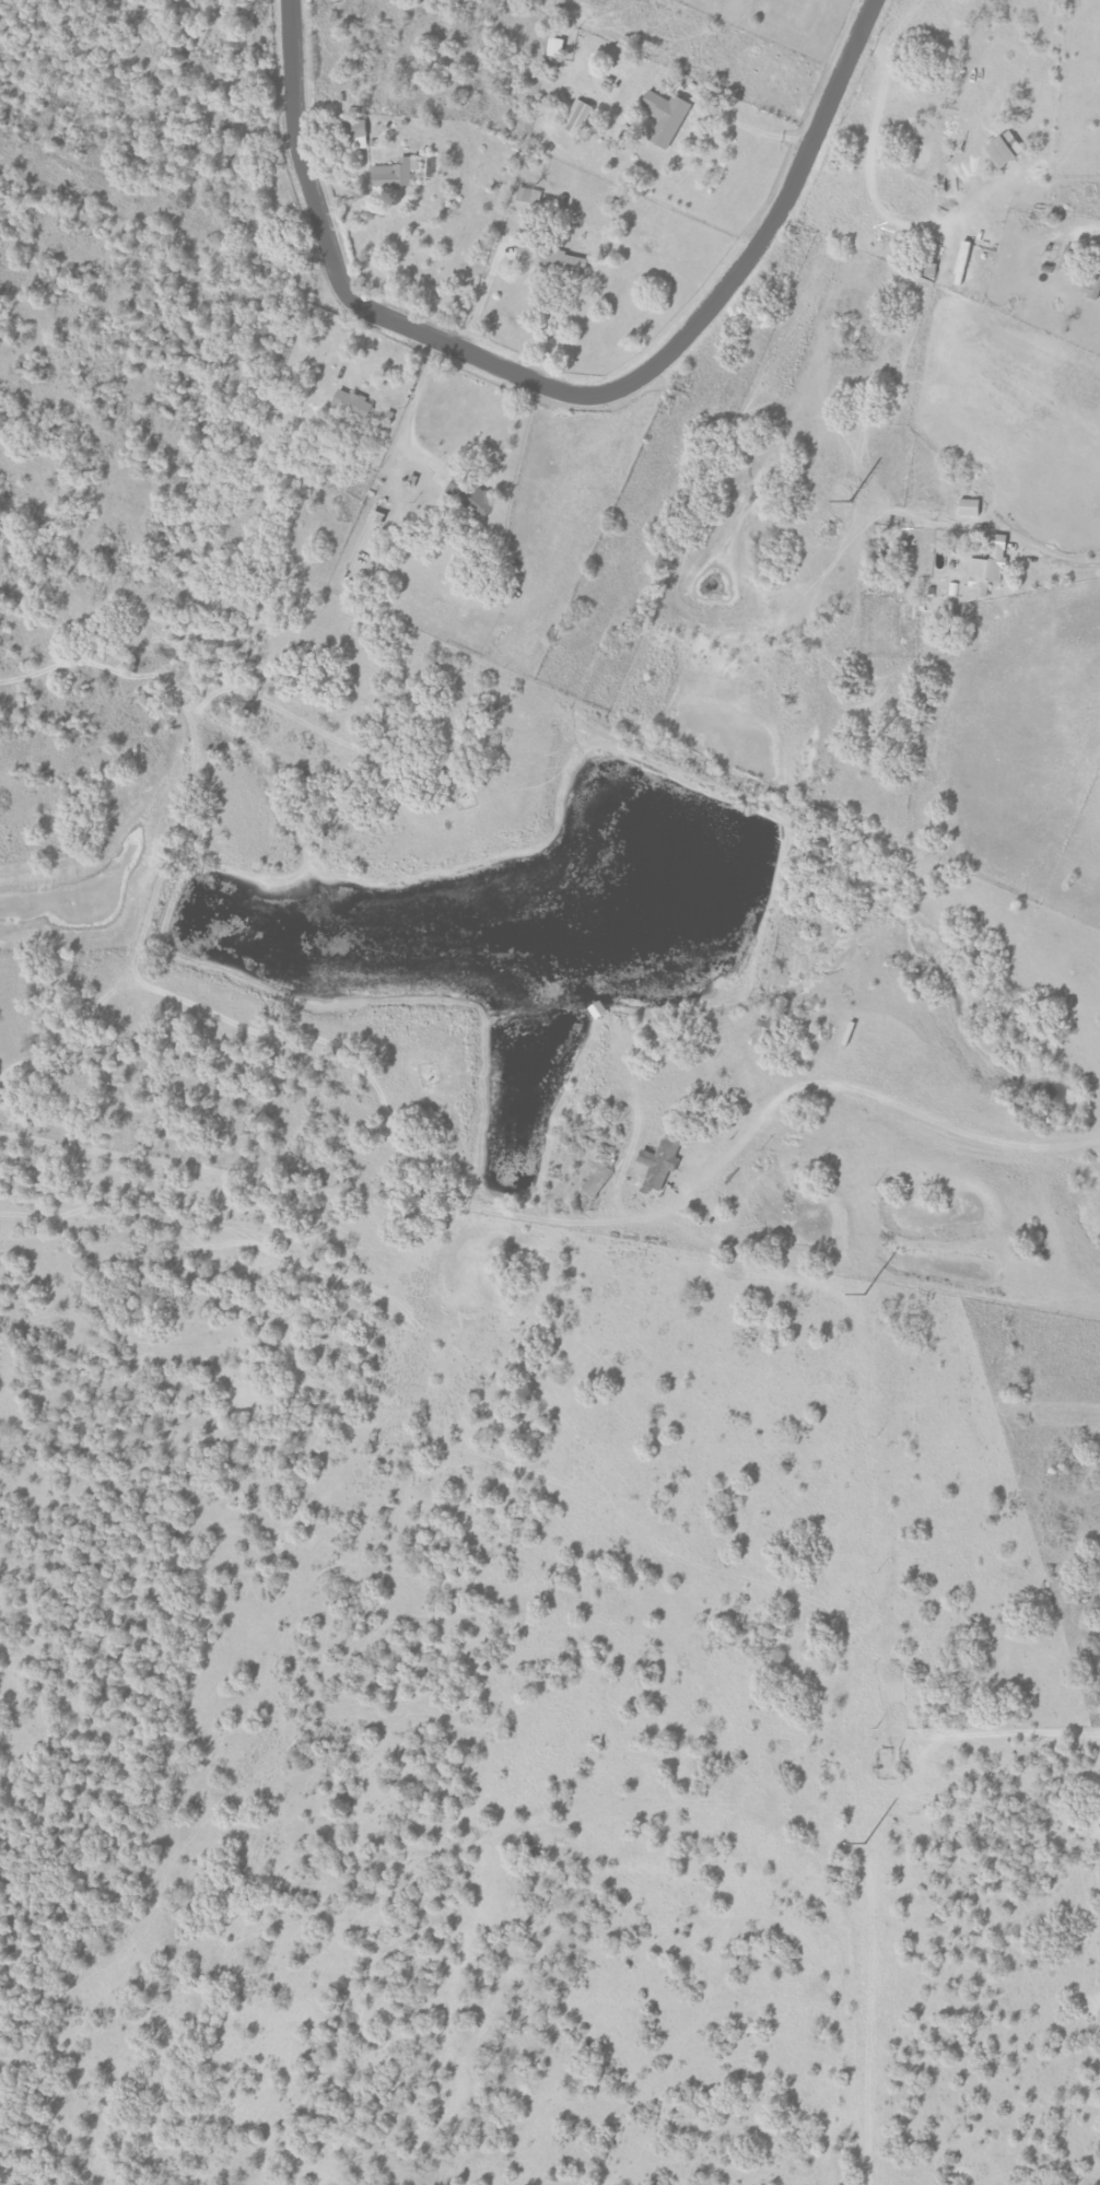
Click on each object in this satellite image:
building: (557, 47)
building: (580, 116)
building: (667, 116)
road: (748, 128)
building: (359, 133)
road: (866, 152)
building: (1004, 152)
road: (300, 153)
building: (396, 173)
building: (528, 195)
road: (783, 201)
road: (1086, 230)
building: (553, 259)
building: (1088, 285)
road: (478, 296)
road: (495, 367)
road: (410, 399)
building: (354, 402)
power tower: (849, 502)
building: (972, 506)
road: (1064, 564)
building: (990, 566)
building: (952, 587)
power tower: (874, 747)
road: (779, 1099)
road: (623, 1164)
building: (660, 1165)
building: (598, 1179)
power tower: (863, 1294)
power tower: (864, 1844)

